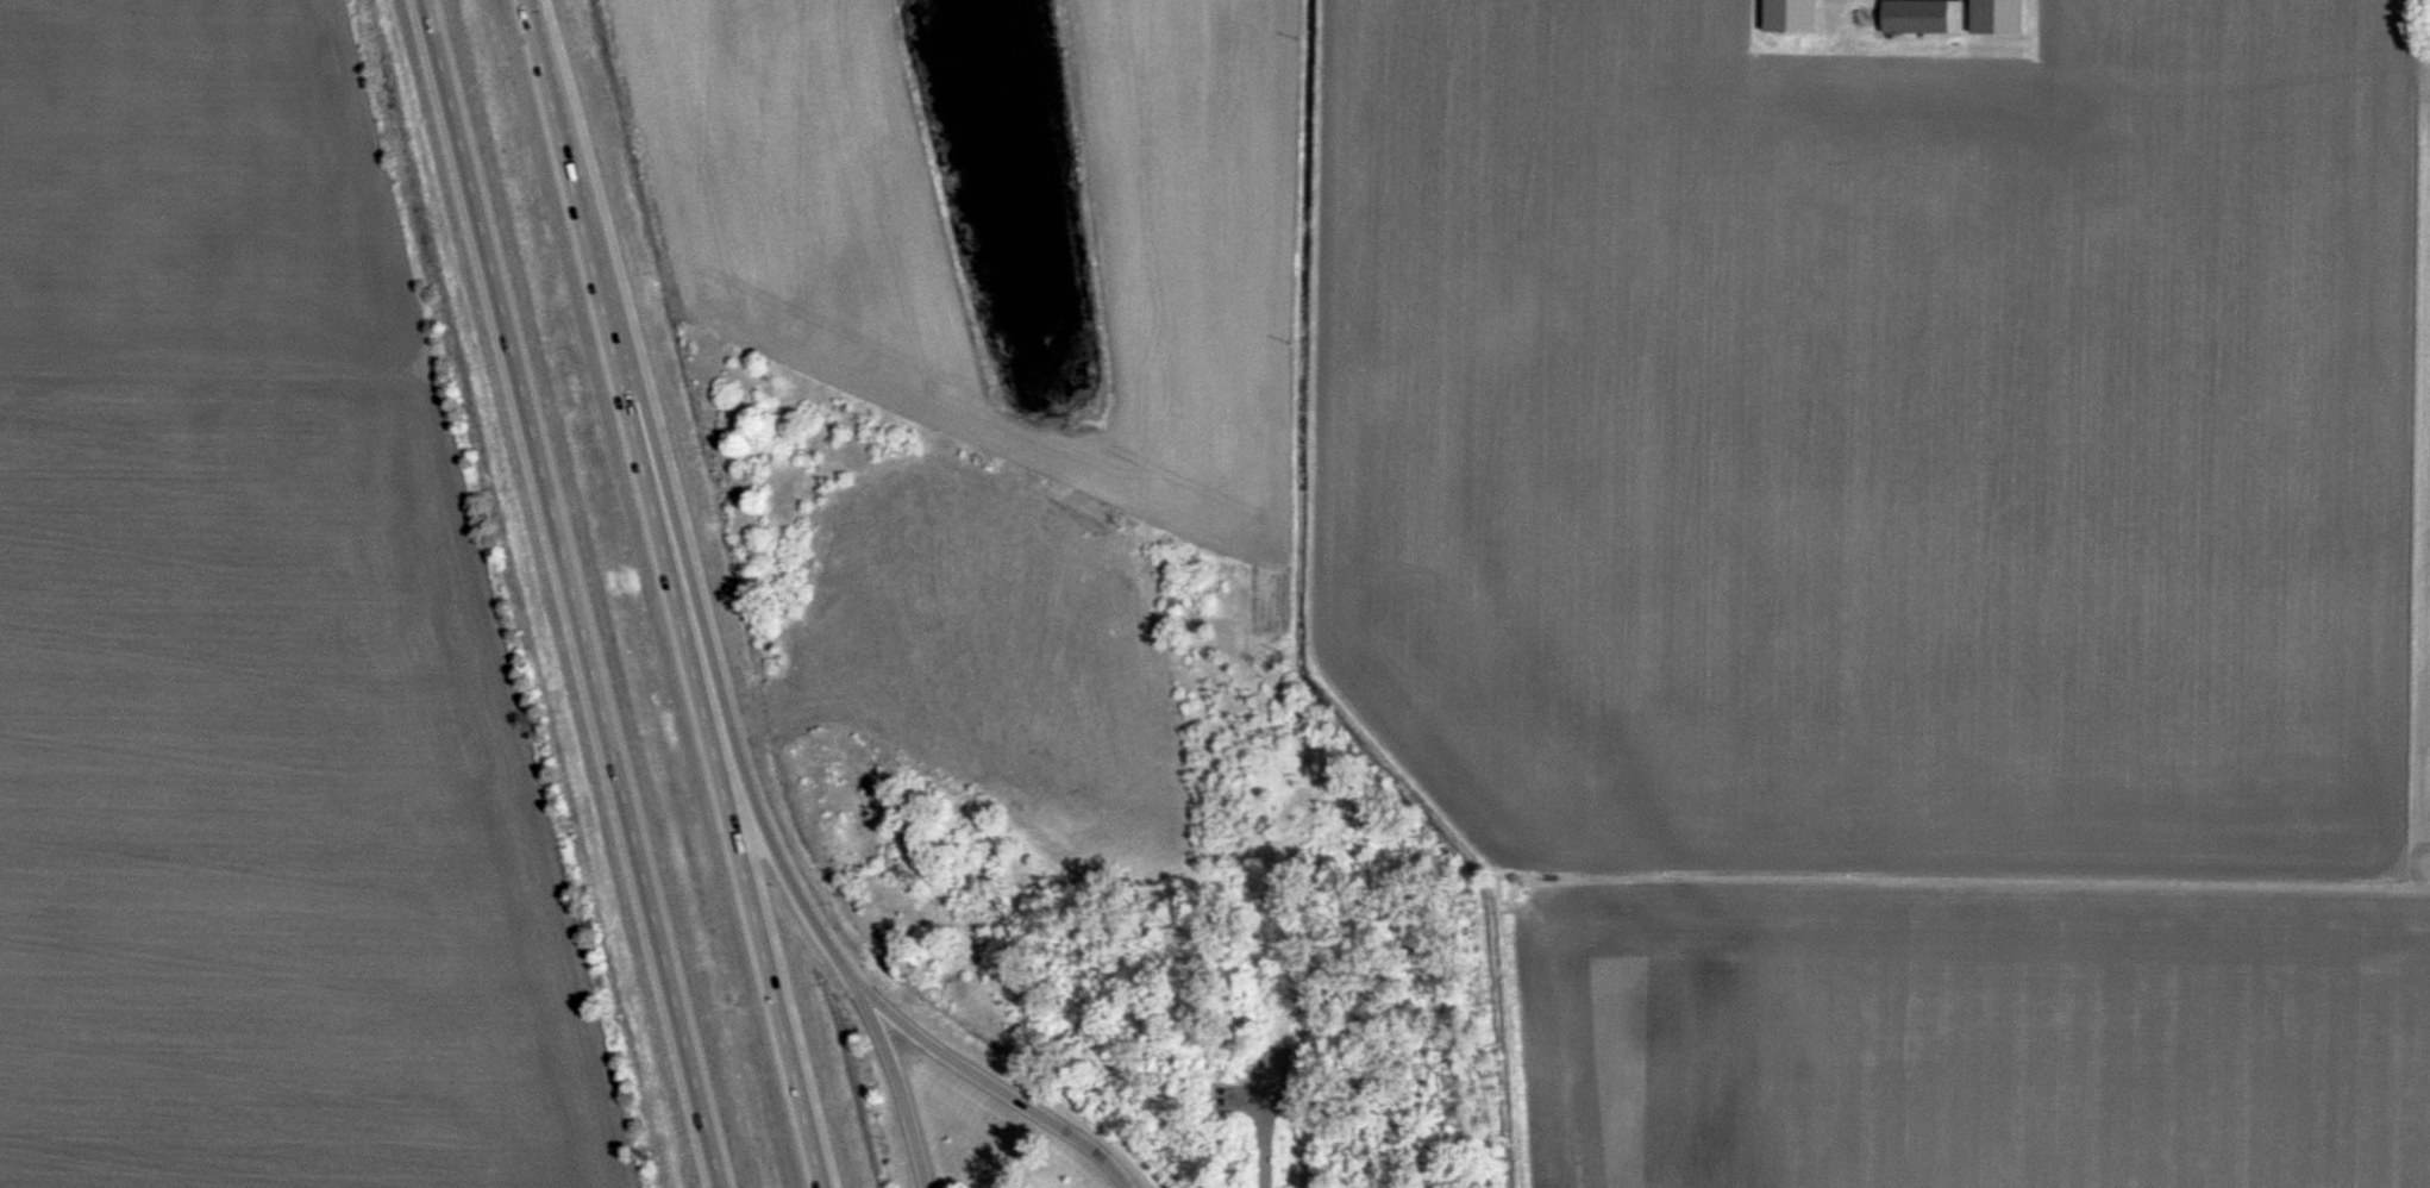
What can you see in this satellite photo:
building: (1791, 17)
building: (1922, 18)
road: (1313, 317)
road: (568, 593)
road: (677, 594)
road: (701, 638)
road: (1008, 1092)
road: (900, 1093)
road: (1247, 1098)
road: (1263, 1119)

